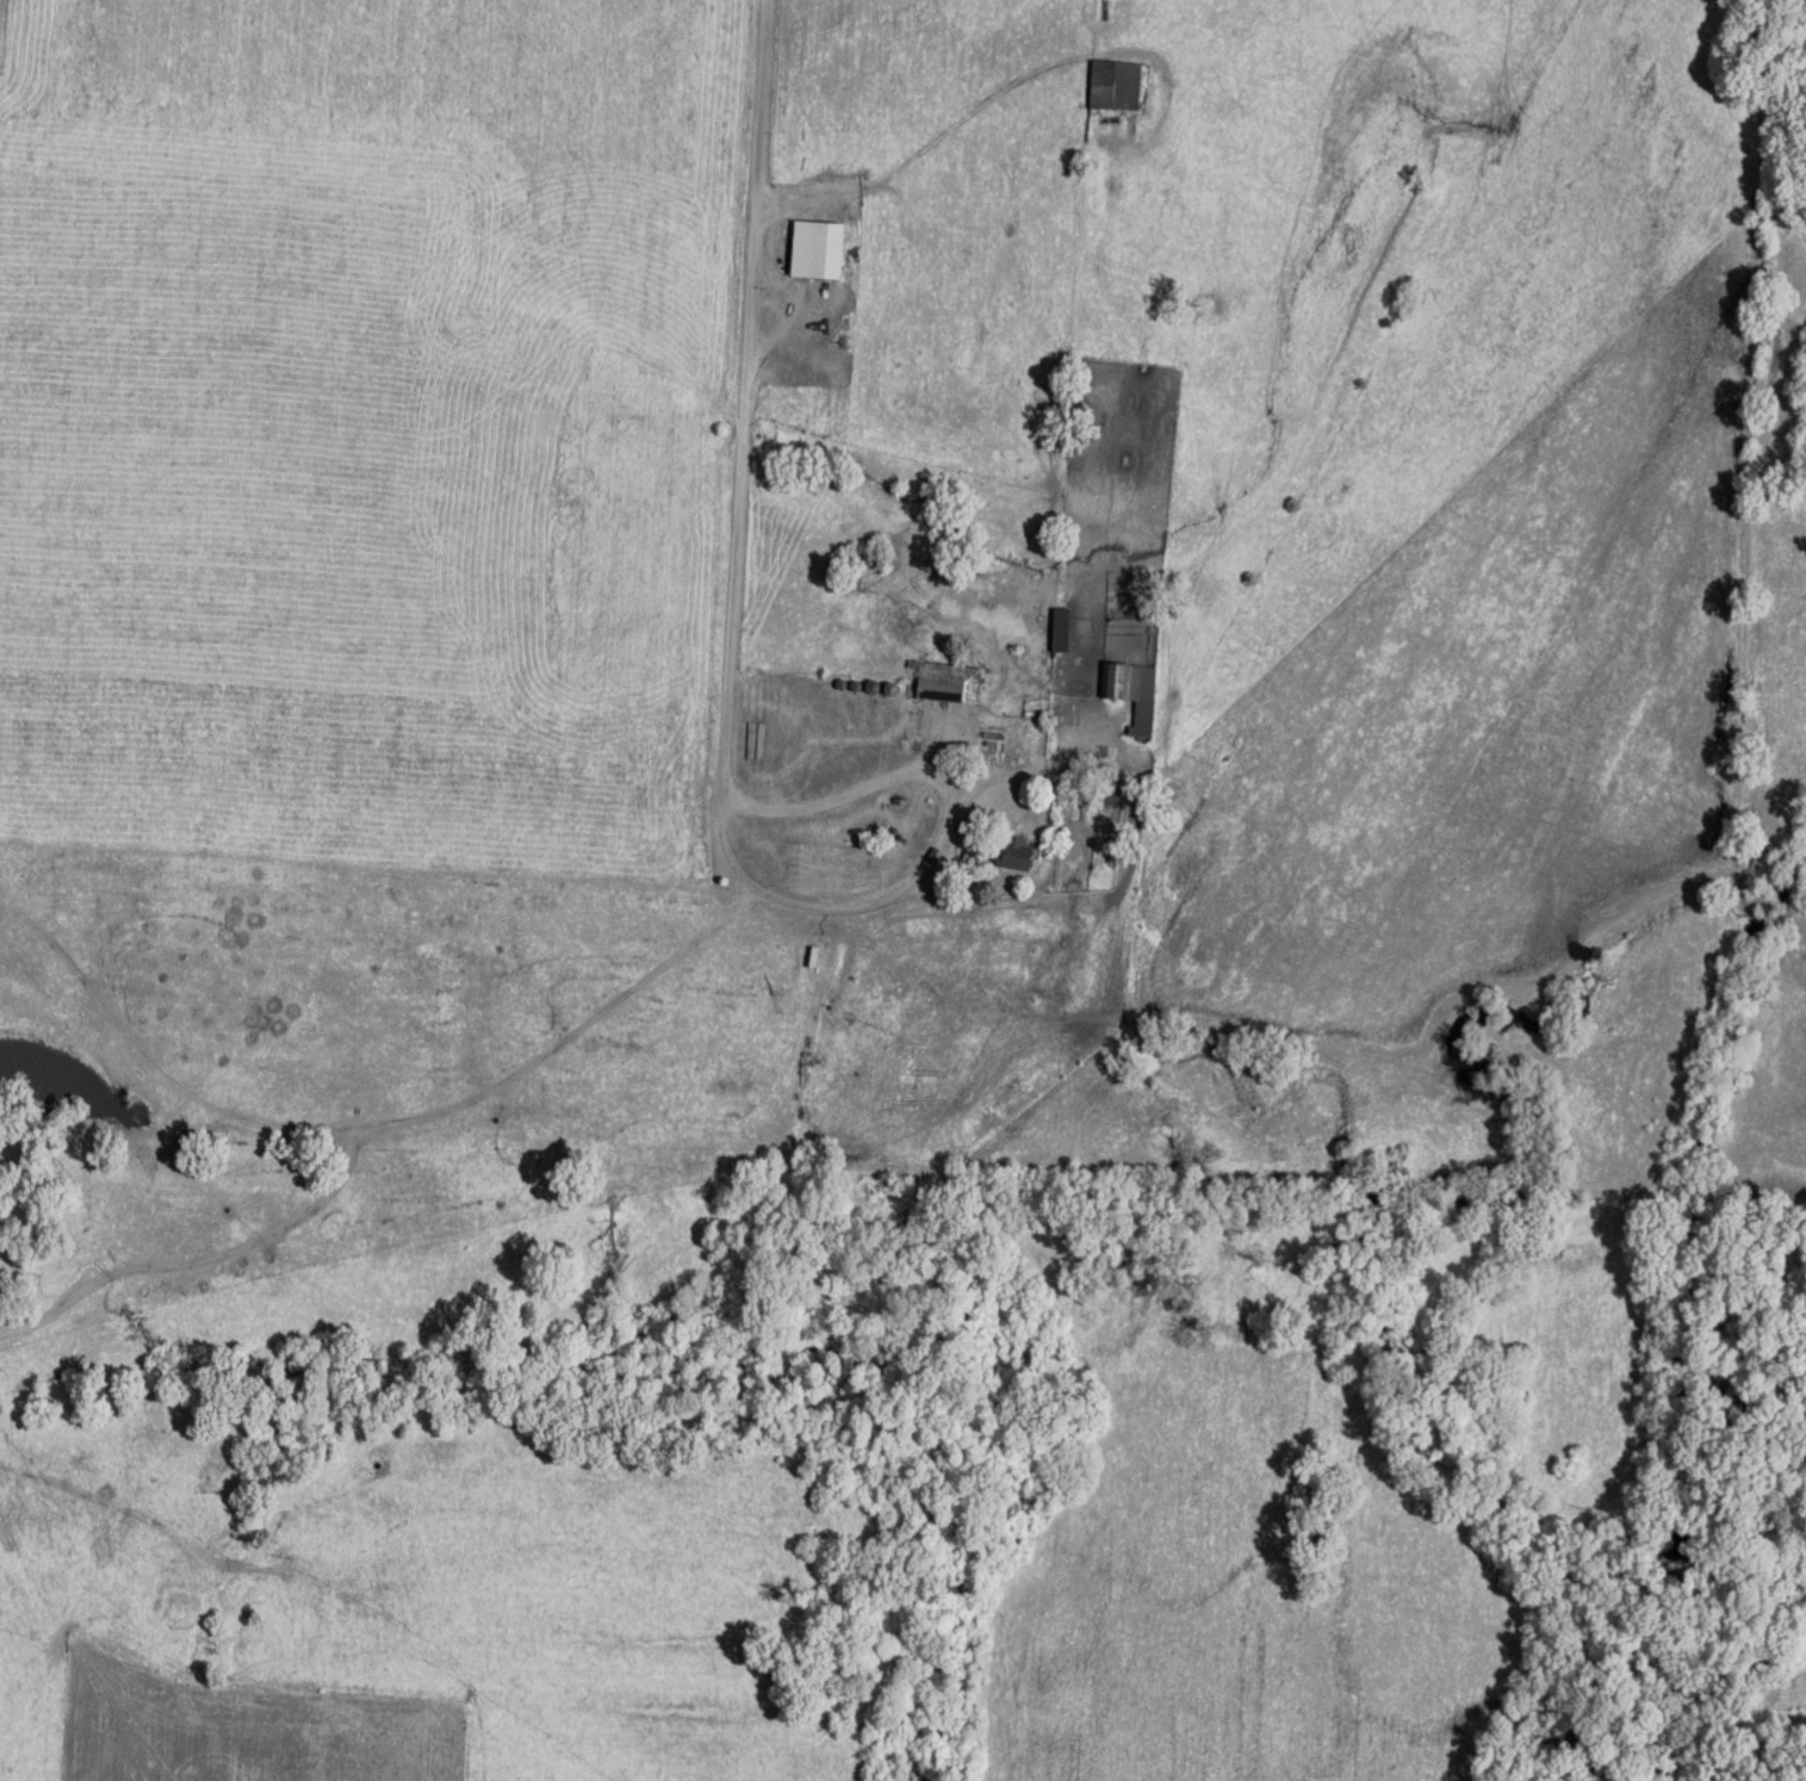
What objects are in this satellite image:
building: (1113, 85)
road: (962, 117)
building: (815, 248)
building: (1059, 628)
road: (728, 650)
building: (947, 681)
building: (1131, 690)
building: (955, 736)
building: (995, 738)
building: (1012, 851)
road: (371, 1129)
road: (199, 1261)

